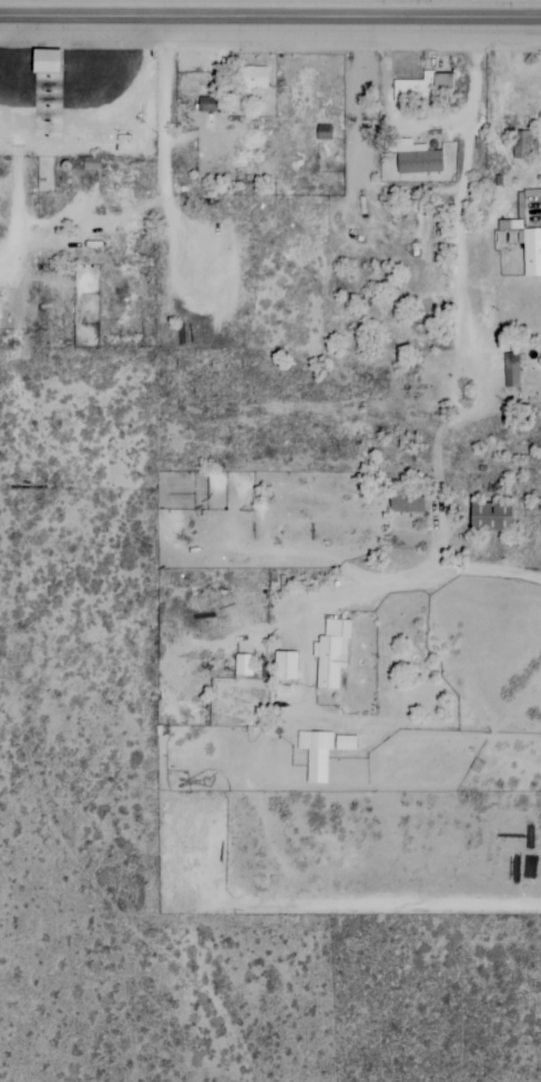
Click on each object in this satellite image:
road: (467, 10)
road: (270, 20)
building: (42, 60)
building: (251, 79)
building: (421, 88)
building: (205, 104)
building: (520, 144)
building: (412, 156)
road: (32, 167)
road: (331, 208)
road: (294, 224)
building: (509, 224)
building: (531, 253)
building: (539, 360)
building: (510, 370)
building: (405, 502)
building: (489, 517)
building: (330, 653)
building: (242, 665)
building: (284, 666)
road: (110, 729)
building: (321, 752)

